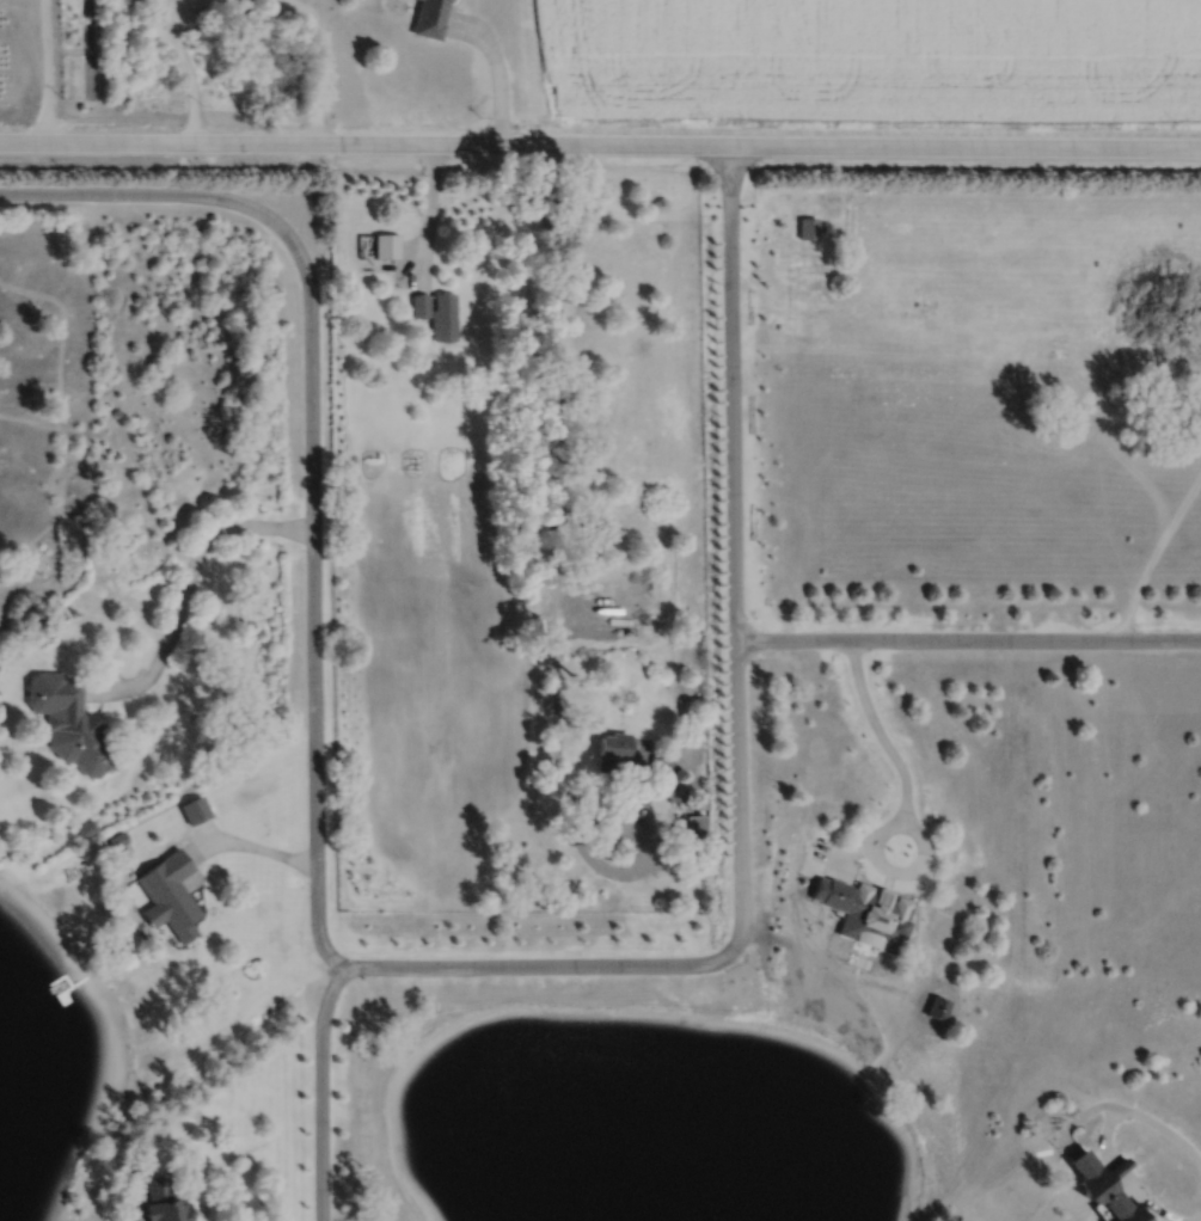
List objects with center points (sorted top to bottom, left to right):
road: (315, 14)
building: (430, 18)
building: (252, 32)
road: (182, 57)
crop: (874, 59)
road: (317, 62)
road: (43, 70)
road: (498, 70)
road: (600, 142)
road: (429, 213)
building: (805, 227)
building: (387, 246)
building: (421, 306)
building: (443, 318)
road: (553, 576)
road: (186, 584)
road: (968, 638)
building: (69, 722)
building: (614, 748)
building: (662, 771)
building: (700, 800)
building: (195, 808)
road: (909, 809)
building: (697, 826)
building: (87, 827)
building: (117, 837)
road: (257, 847)
building: (171, 891)
building: (872, 920)
road: (419, 965)
road: (321, 1090)
road: (1080, 1113)
road: (1140, 1113)
road: (1113, 1160)
road: (1119, 1168)
building: (130, 1170)
building: (1099, 1182)
road: (1146, 1198)
building: (165, 1201)
road: (1126, 1216)
road: (1195, 1219)

